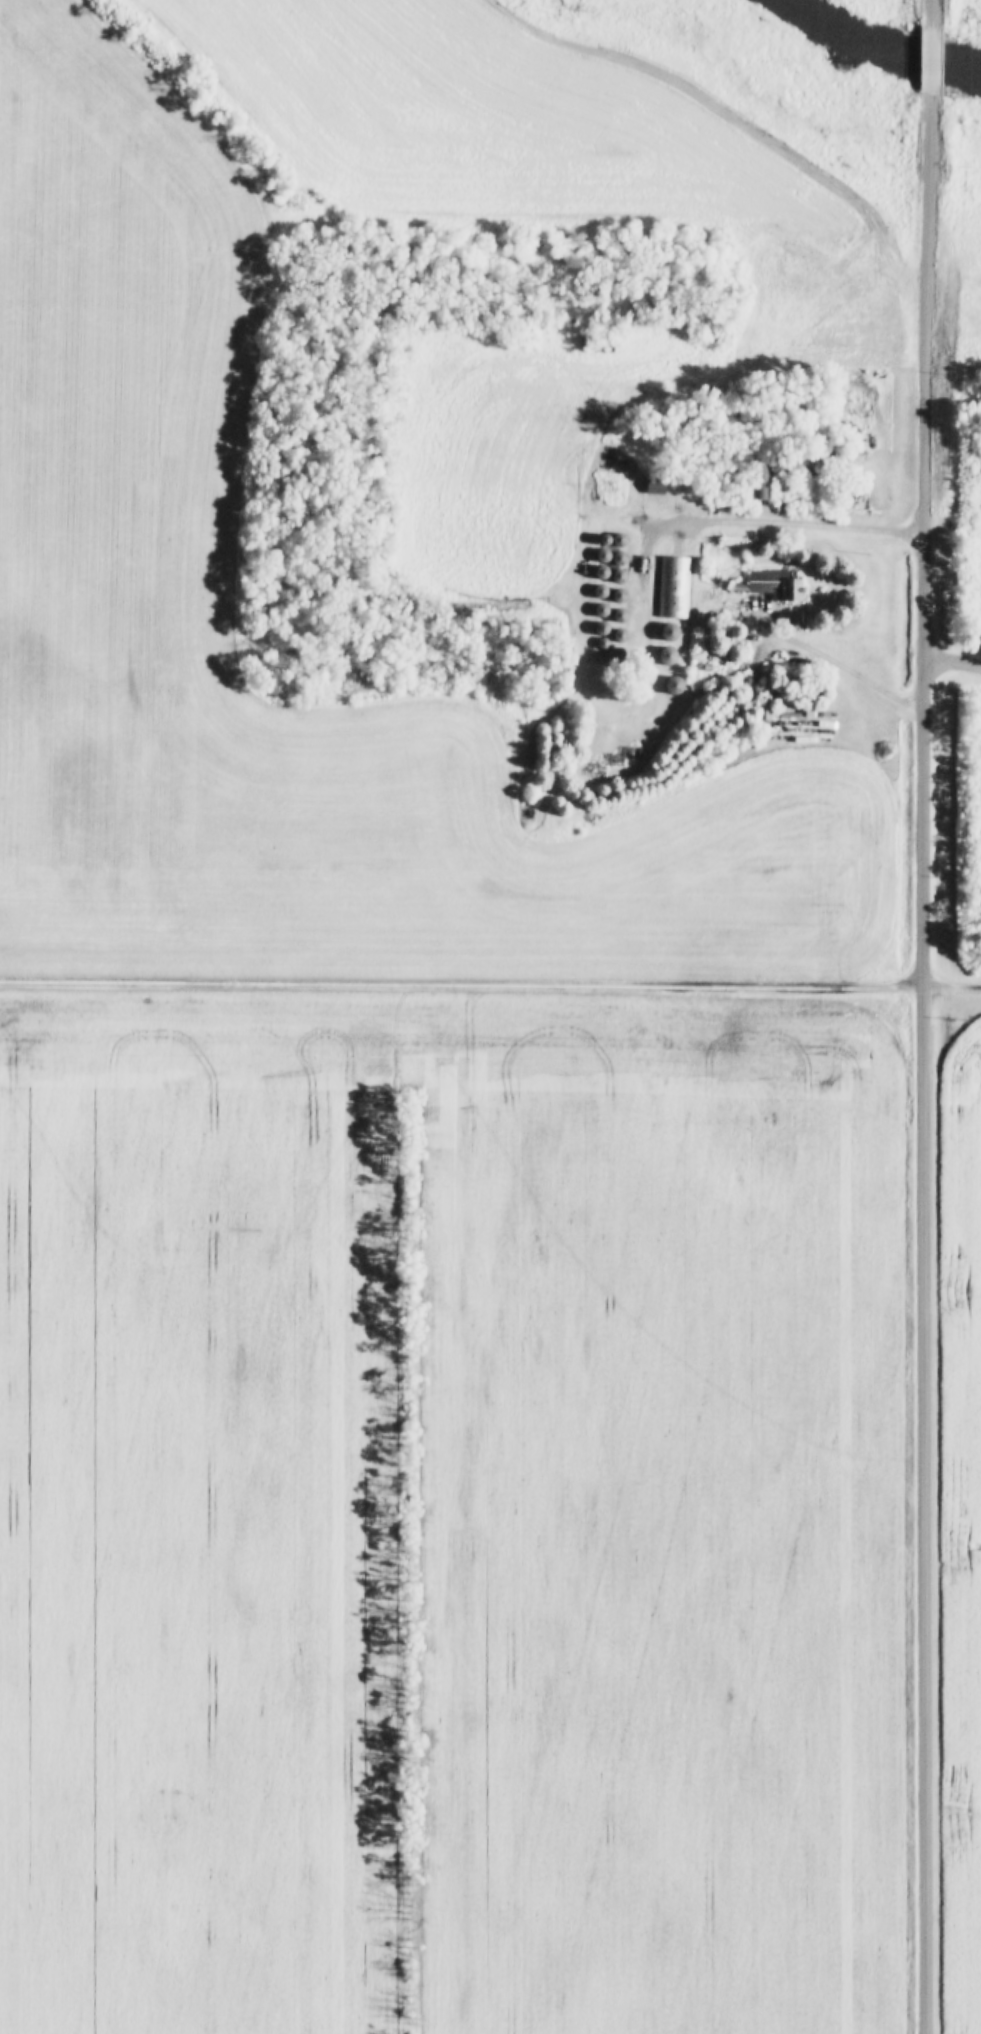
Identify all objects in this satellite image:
river: (850, 15)
road: (922, 15)
river: (933, 55)
road: (922, 61)
building: (763, 482)
road: (761, 522)
building: (771, 583)
road: (954, 658)
road: (848, 666)
road: (490, 977)
road: (925, 1063)
crop: (961, 1531)

